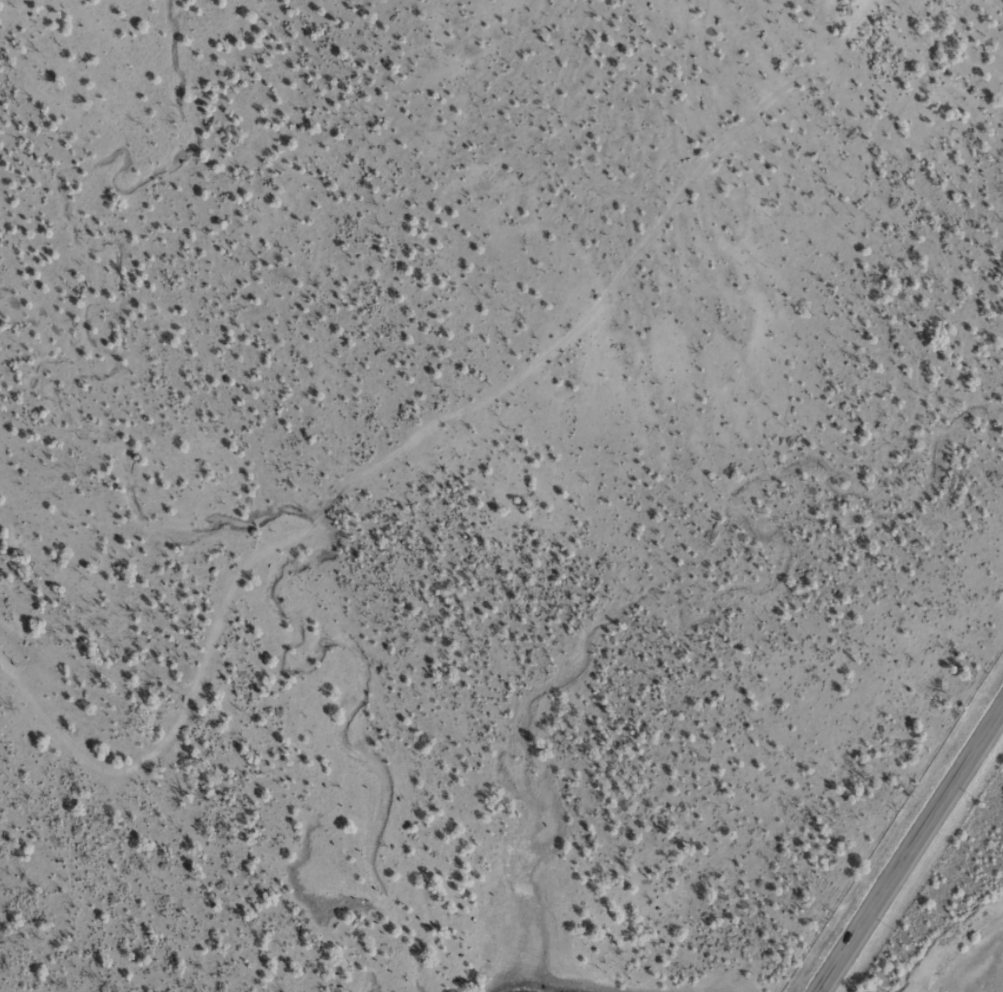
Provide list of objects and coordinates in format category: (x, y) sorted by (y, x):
road: (912, 853)

